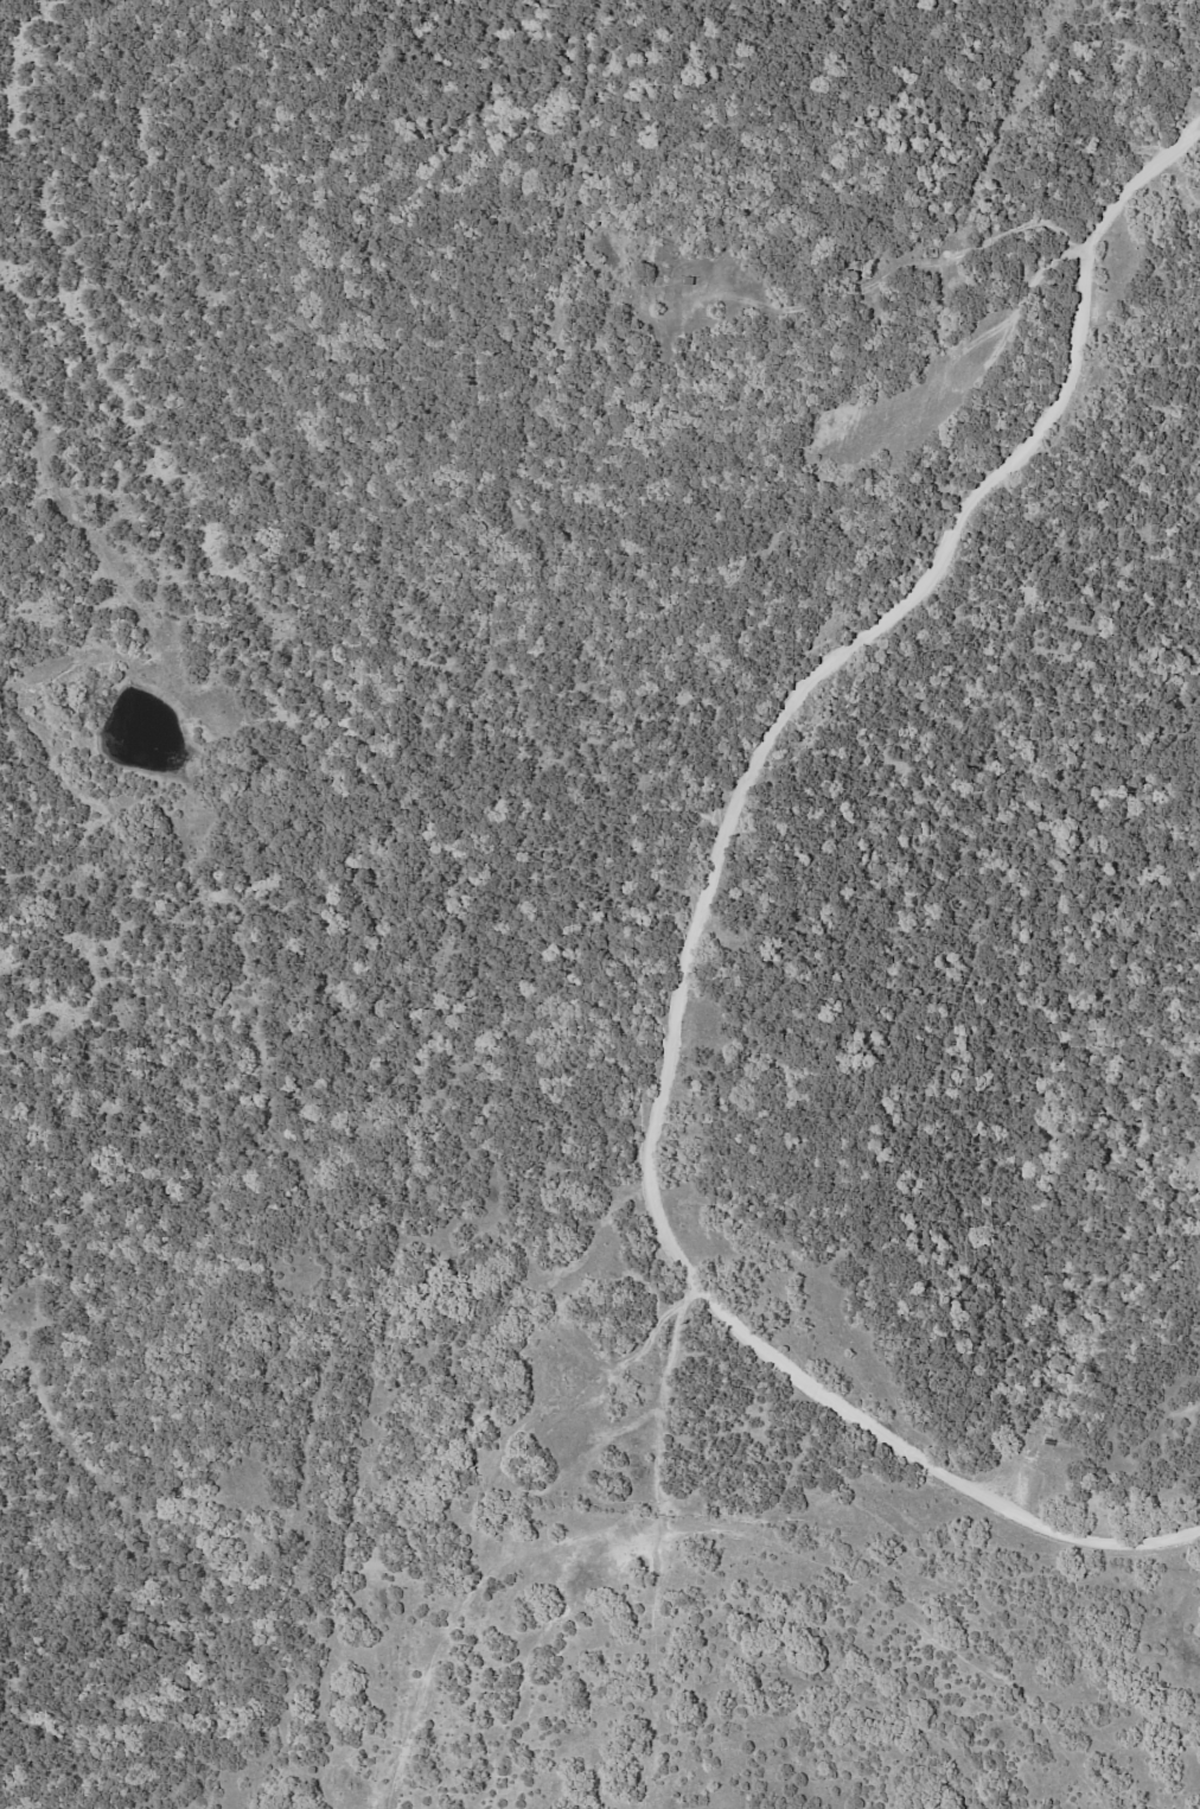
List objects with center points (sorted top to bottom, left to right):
road: (1177, 154)
building: (857, 278)
building: (689, 280)
road: (696, 954)

